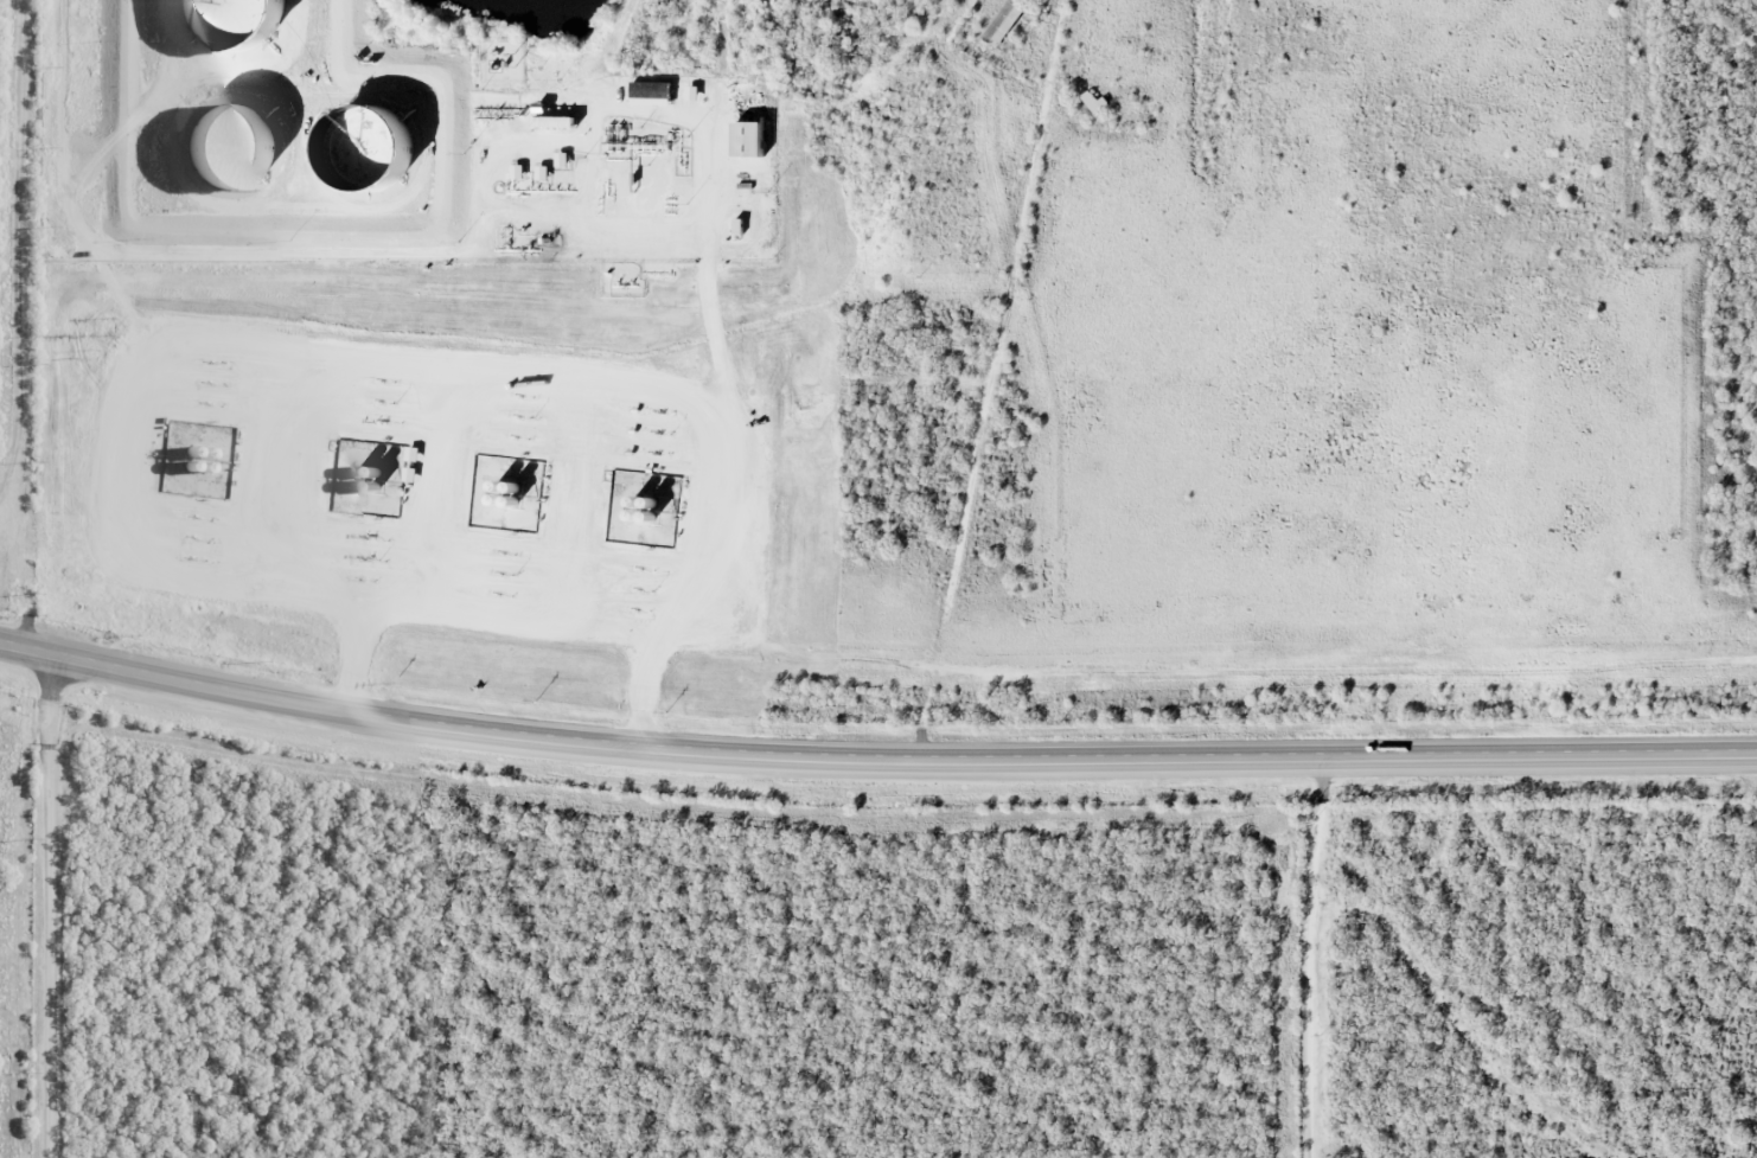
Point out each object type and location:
building: (242, 21)
storage tank: (242, 21)
building: (1001, 24)
building: (650, 88)
building: (1092, 101)
building: (747, 130)
building: (244, 149)
storage tank: (244, 149)
building: (379, 152)
storage tank: (379, 152)
road: (19, 256)
road: (989, 388)
road: (873, 763)
road: (45, 908)
road: (1311, 962)

